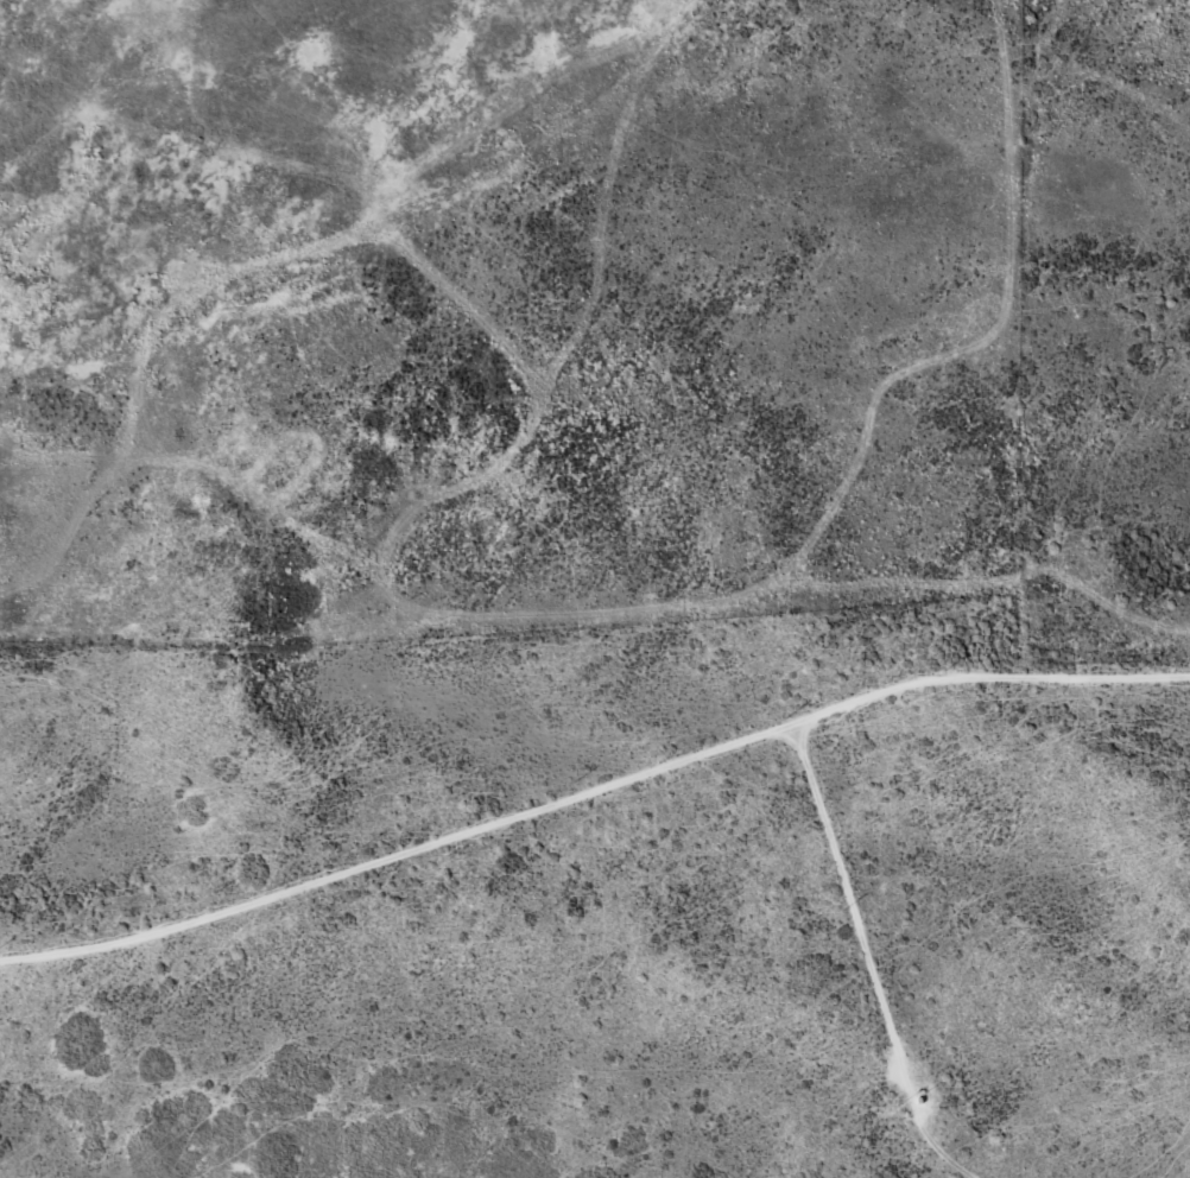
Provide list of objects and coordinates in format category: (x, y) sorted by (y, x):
road: (590, 791)

